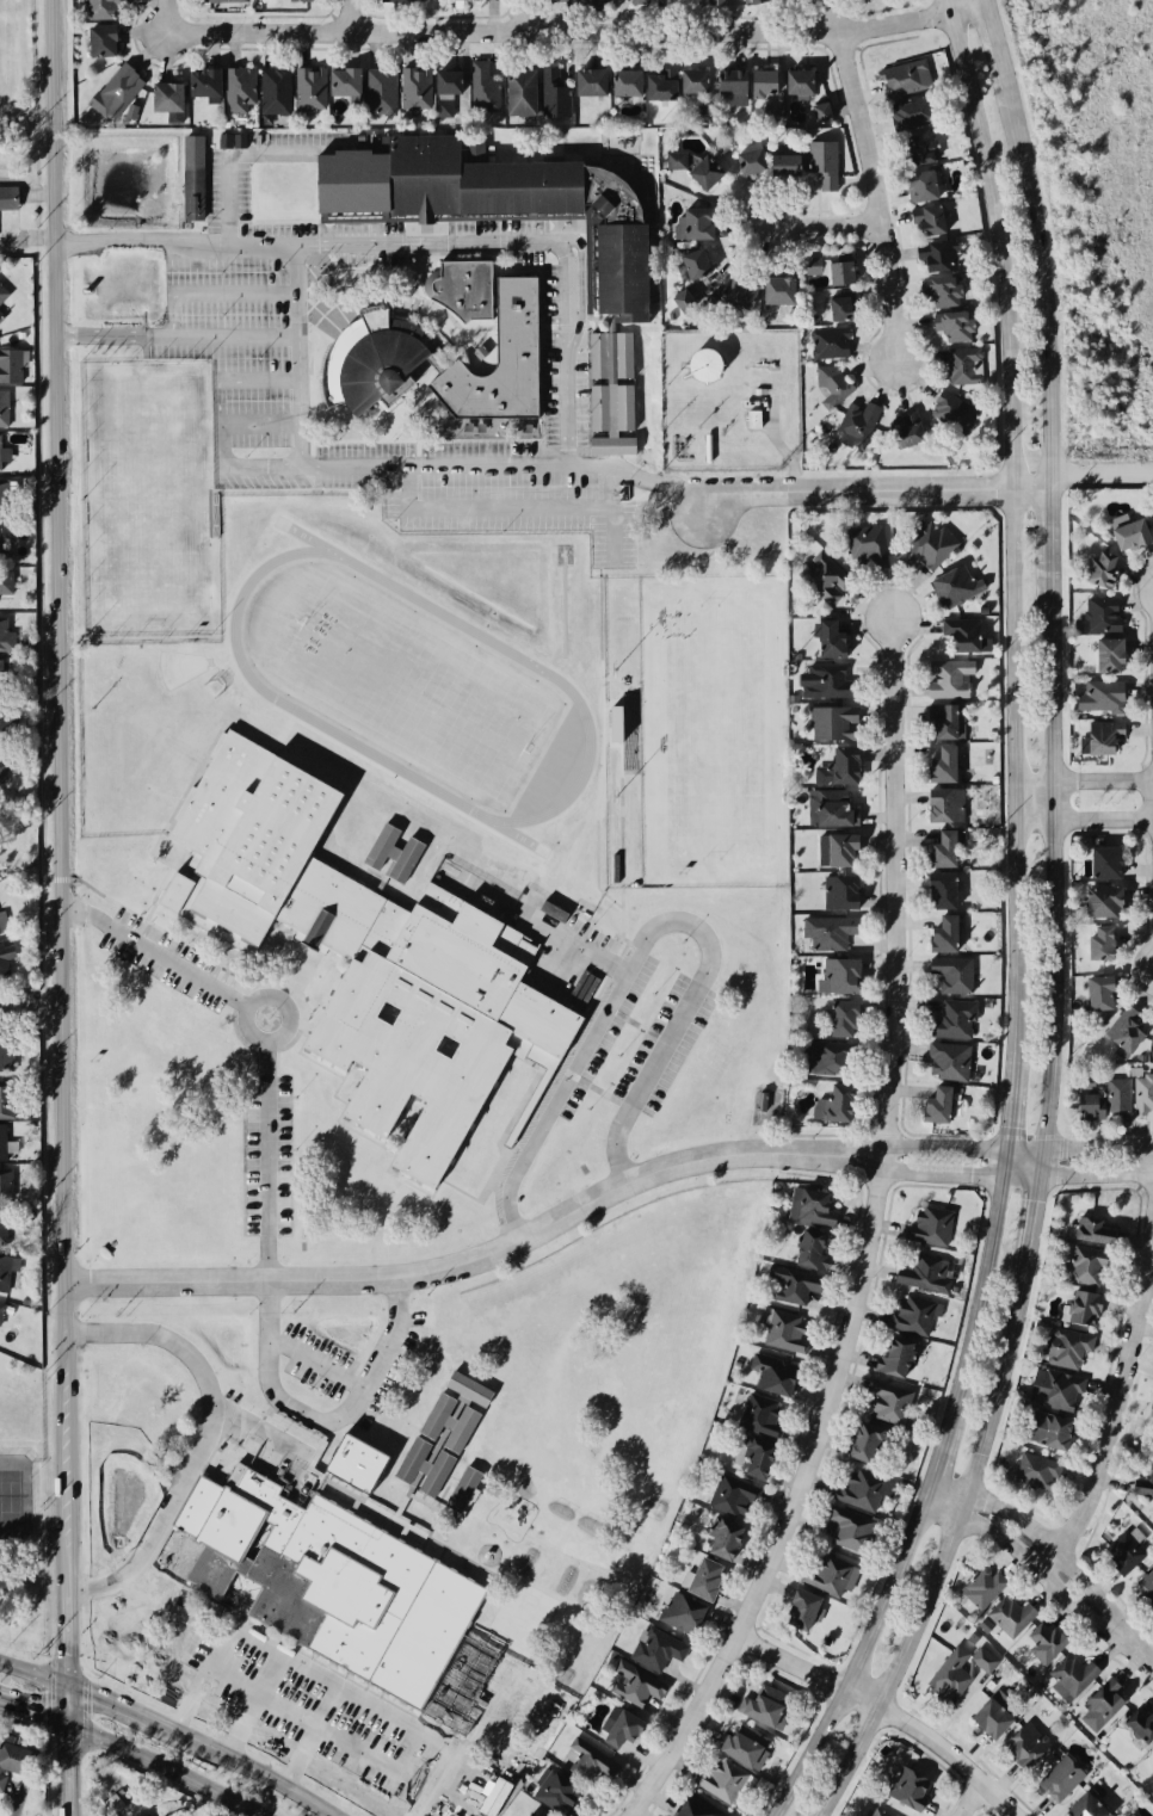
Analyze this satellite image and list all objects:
building: (302, 0)
building: (224, 1)
building: (397, 1)
building: (576, 1)
building: (640, 1)
building: (717, 1)
building: (758, 1)
building: (460, 2)
building: (103, 8)
road: (177, 16)
road: (354, 16)
road: (530, 17)
road: (582, 32)
building: (103, 41)
building: (908, 75)
building: (691, 80)
building: (727, 80)
building: (795, 80)
building: (345, 81)
building: (448, 81)
building: (591, 81)
building: (203, 82)
building: (760, 82)
building: (656, 85)
building: (121, 87)
building: (310, 87)
building: (417, 87)
building: (485, 87)
building: (623, 87)
building: (239, 89)
building: (276, 91)
building: (381, 91)
building: (520, 92)
building: (554, 94)
building: (166, 97)
building: (444, 107)
building: (818, 110)
building: (773, 112)
building: (704, 113)
building: (910, 113)
building: (232, 141)
building: (915, 147)
road: (229, 153)
building: (746, 156)
building: (781, 159)
building: (677, 160)
building: (820, 165)
building: (699, 172)
building: (193, 178)
road: (870, 181)
building: (919, 184)
building: (7, 197)
building: (498, 202)
building: (393, 218)
building: (693, 221)
building: (920, 221)
road: (818, 223)
road: (172, 239)
road: (438, 241)
road: (85, 242)
road: (273, 243)
building: (935, 254)
building: (696, 264)
building: (812, 266)
building: (836, 270)
road: (580, 277)
road: (565, 285)
building: (461, 289)
building: (775, 291)
building: (932, 291)
building: (735, 292)
building: (4, 294)
road: (212, 294)
building: (683, 301)
flagpole: (325, 303)
building: (834, 305)
flagpole: (320, 307)
road: (295, 313)
building: (1, 315)
building: (951, 326)
road: (175, 334)
building: (827, 341)
building: (481, 352)
building: (372, 358)
building: (498, 360)
building: (963, 364)
building: (705, 365)
storage tank: (705, 365)
building: (11, 366)
road: (220, 385)
building: (833, 385)
building: (609, 393)
road: (568, 397)
building: (4, 408)
building: (952, 413)
building: (751, 419)
road: (259, 424)
road: (298, 424)
building: (852, 424)
building: (531, 430)
building: (901, 430)
building: (4, 453)
road: (433, 468)
road: (243, 469)
road: (283, 469)
road: (1103, 476)
road: (639, 477)
road: (877, 489)
building: (4, 499)
park: (150, 500)
road: (488, 508)
road: (611, 515)
building: (1124, 531)
building: (0, 542)
building: (924, 548)
building: (864, 549)
building: (1096, 566)
building: (822, 576)
building: (6, 582)
building: (951, 586)
building: (1098, 613)
building: (960, 634)
building: (6, 635)
building: (828, 637)
building: (1105, 655)
building: (2, 669)
building: (826, 679)
building: (944, 679)
building: (1099, 694)
building: (6, 718)
building: (945, 719)
building: (830, 722)
building: (1103, 736)
road: (596, 739)
building: (937, 761)
building: (834, 764)
building: (4, 768)
road: (1085, 778)
building: (942, 803)
building: (826, 805)
road: (1086, 821)
road: (625, 822)
building: (941, 845)
building: (836, 847)
building: (1102, 860)
building: (937, 888)
building: (838, 890)
building: (1099, 898)
road: (61, 908)
building: (4, 922)
road: (1058, 926)
road: (1019, 928)
building: (828, 932)
building: (939, 932)
road: (580, 939)
building: (1097, 940)
building: (382, 947)
road: (156, 955)
building: (5, 958)
building: (838, 972)
building: (951, 972)
road: (560, 983)
building: (1096, 992)
road: (31, 1007)
road: (246, 1009)
road: (685, 1013)
building: (837, 1015)
building: (951, 1019)
building: (1124, 1027)
building: (6, 1055)
building: (825, 1056)
building: (948, 1061)
building: (1142, 1093)
building: (1115, 1095)
building: (5, 1098)
building: (834, 1098)
road: (555, 1100)
building: (762, 1101)
building: (1084, 1102)
building: (941, 1105)
building: (2, 1141)
road: (1099, 1148)
road: (963, 1149)
road: (267, 1160)
road: (960, 1174)
road: (1097, 1175)
building: (6, 1182)
building: (803, 1206)
building: (930, 1224)
building: (2, 1227)
building: (1090, 1230)
road: (871, 1243)
building: (802, 1247)
road: (487, 1254)
building: (1087, 1267)
building: (5, 1271)
building: (923, 1272)
building: (793, 1289)
building: (0, 1305)
building: (1080, 1308)
building: (912, 1312)
building: (783, 1329)
building: (1063, 1349)
building: (892, 1357)
road: (317, 1361)
building: (769, 1372)
building: (1053, 1392)
road: (1118, 1394)
building: (880, 1400)
building: (1151, 1404)
building: (756, 1414)
road: (325, 1421)
building: (1044, 1431)
road: (263, 1435)
road: (205, 1438)
building: (859, 1443)
building: (750, 1458)
building: (1032, 1472)
building: (1140, 1484)
park: (13, 1491)
building: (855, 1494)
building: (730, 1496)
park: (25, 1511)
building: (839, 1530)
building: (721, 1539)
building: (346, 1545)
road: (1059, 1552)
building: (1122, 1554)
building: (827, 1574)
building: (701, 1576)
building: (979, 1587)
building: (1146, 1592)
building: (676, 1611)
building: (800, 1612)
building: (1017, 1617)
building: (1044, 1643)
building: (653, 1645)
road: (220, 1649)
building: (985, 1660)
building: (949, 1674)
road: (35, 1675)
building: (1069, 1676)
traffic signals: (70, 1686)
building: (631, 1686)
road: (190, 1699)
building: (1105, 1700)
road: (364, 1704)
road: (116, 1705)
building: (766, 1705)
road: (253, 1706)
road: (893, 1710)
road: (35, 1712)
building: (987, 1721)
building: (1137, 1723)
traffic signals: (70, 1724)
building: (612, 1728)
road: (310, 1737)
road: (341, 1741)
building: (740, 1746)
building: (1023, 1747)
building: (1151, 1753)
building: (12, 1755)
building: (587, 1761)
road: (165, 1767)
road: (248, 1767)
building: (1060, 1778)
building: (2, 1780)
building: (721, 1780)
road: (433, 1785)
building: (908, 1787)
building: (553, 1790)
road: (486, 1798)
road: (980, 1799)
building: (116, 1800)
building: (1081, 1805)
building: (693, 1806)
building: (876, 1812)
building: (528, 1814)
building: (1127, 1814)
building: (1133, 1814)
building: (148, 1815)

